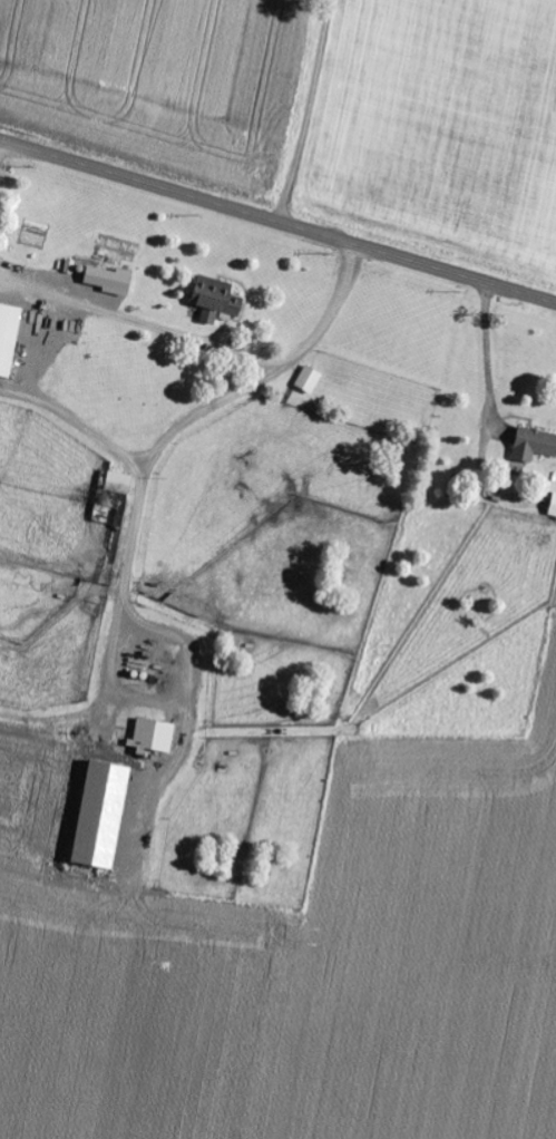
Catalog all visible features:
road: (262, 105)
road: (277, 221)
building: (107, 280)
building: (214, 299)
building: (8, 337)
building: (309, 380)
building: (533, 445)
building: (117, 483)
building: (552, 505)
road: (237, 690)
building: (150, 737)

